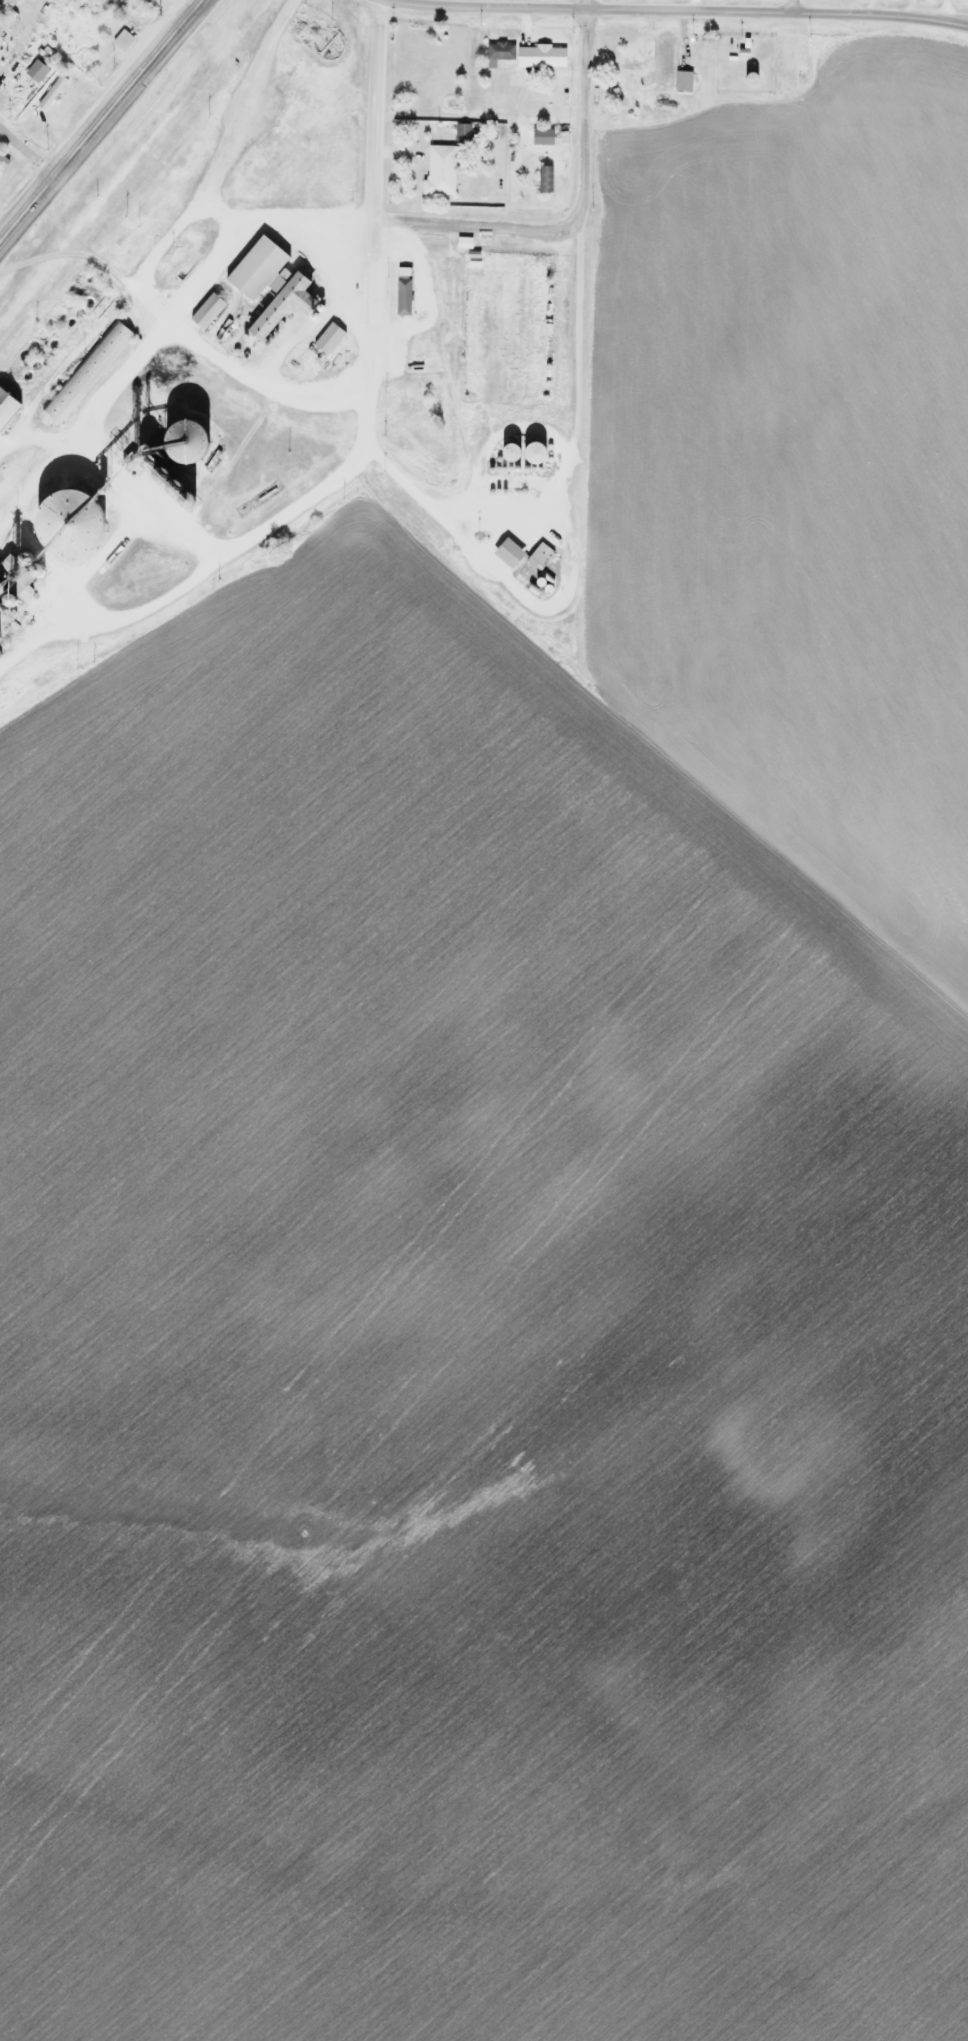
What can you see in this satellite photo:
road: (792, 6)
road: (171, 10)
road: (670, 10)
building: (120, 40)
building: (526, 54)
building: (658, 55)
building: (295, 66)
building: (744, 78)
building: (680, 81)
road: (100, 119)
building: (464, 133)
building: (539, 137)
road: (26, 153)
building: (438, 171)
railway: (146, 174)
building: (543, 179)
road: (370, 200)
road: (574, 212)
road: (280, 214)
road: (147, 260)
building: (258, 266)
building: (401, 295)
building: (286, 298)
building: (208, 309)
building: (329, 335)
building: (87, 370)
building: (6, 403)
building: (188, 439)
silo: (188, 439)
building: (509, 450)
storage tank: (509, 450)
building: (532, 450)
storage tank: (532, 450)
building: (69, 523)
silo: (69, 523)
building: (510, 551)
building: (540, 554)

